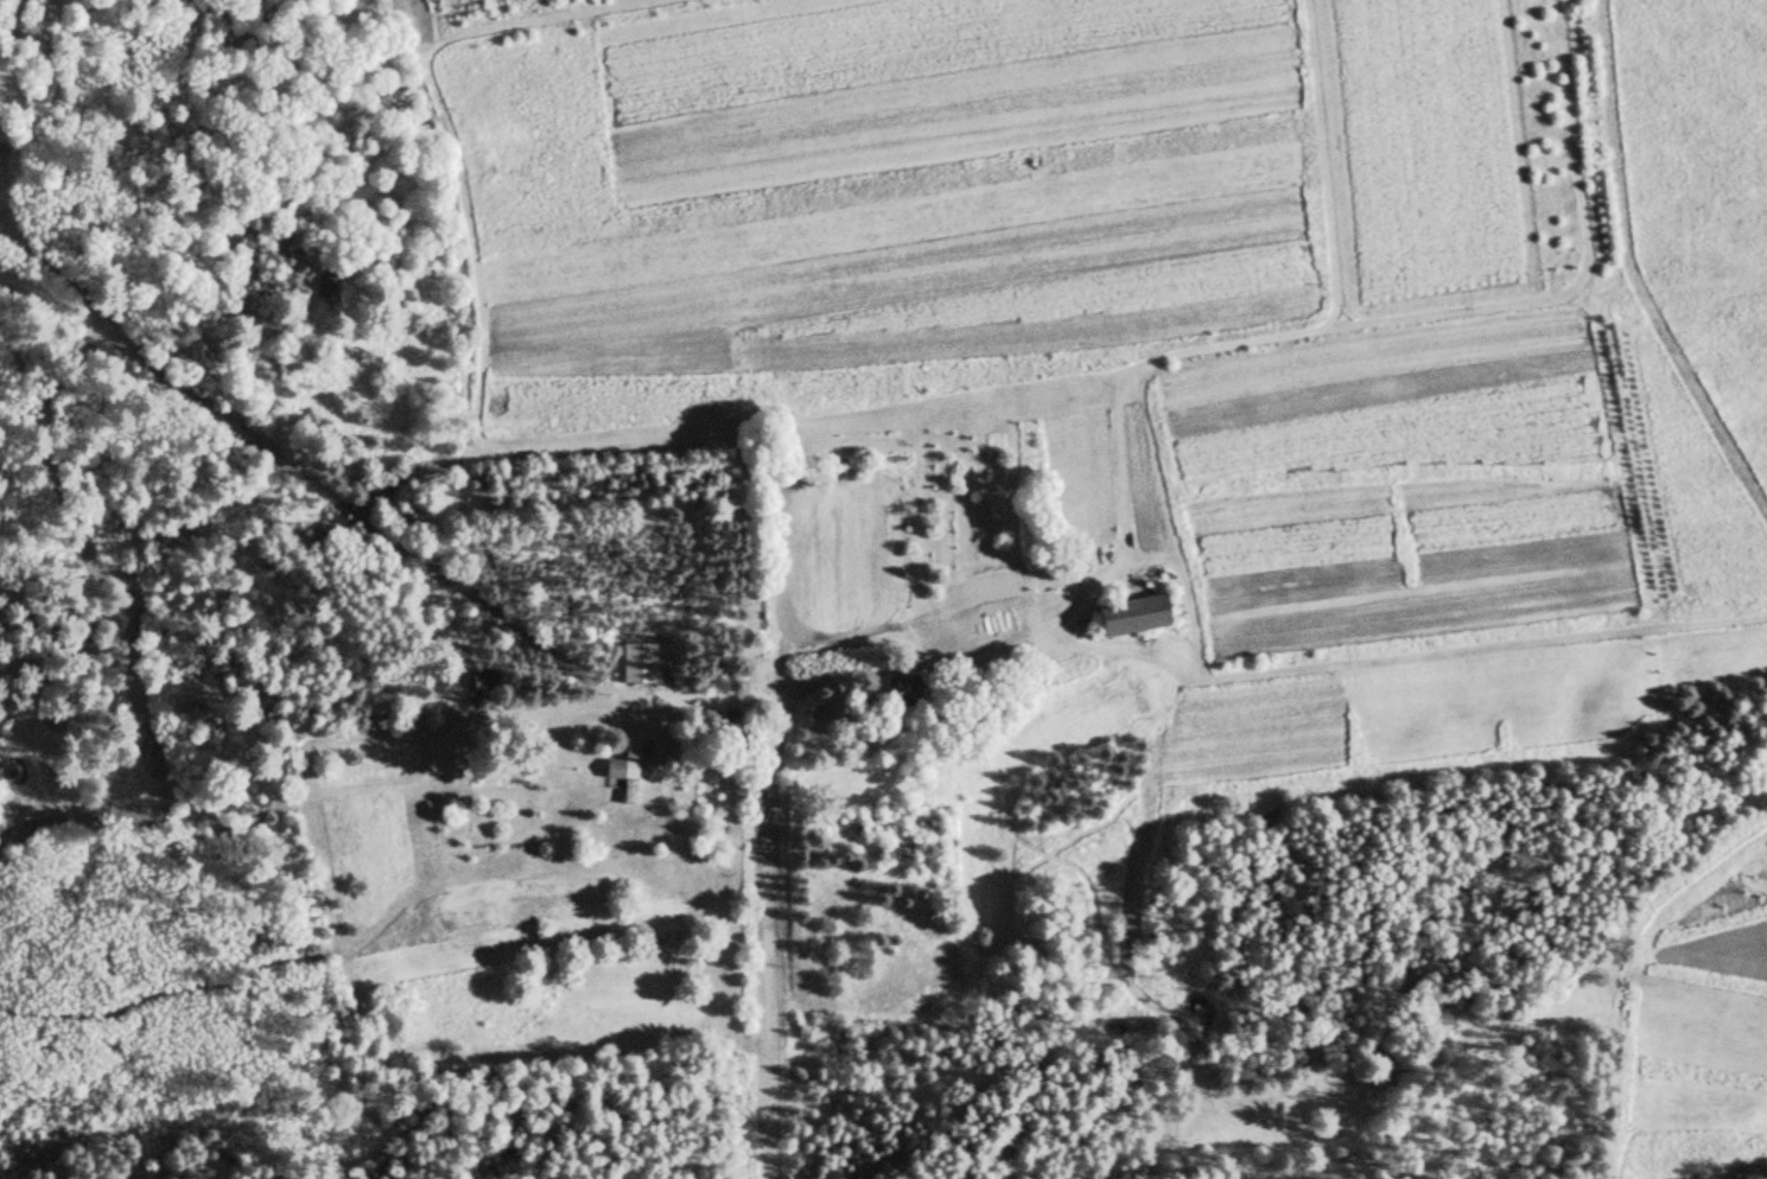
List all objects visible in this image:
building: (1126, 619)
building: (974, 641)
building: (636, 665)
building: (479, 683)
building: (623, 775)
road: (771, 901)

